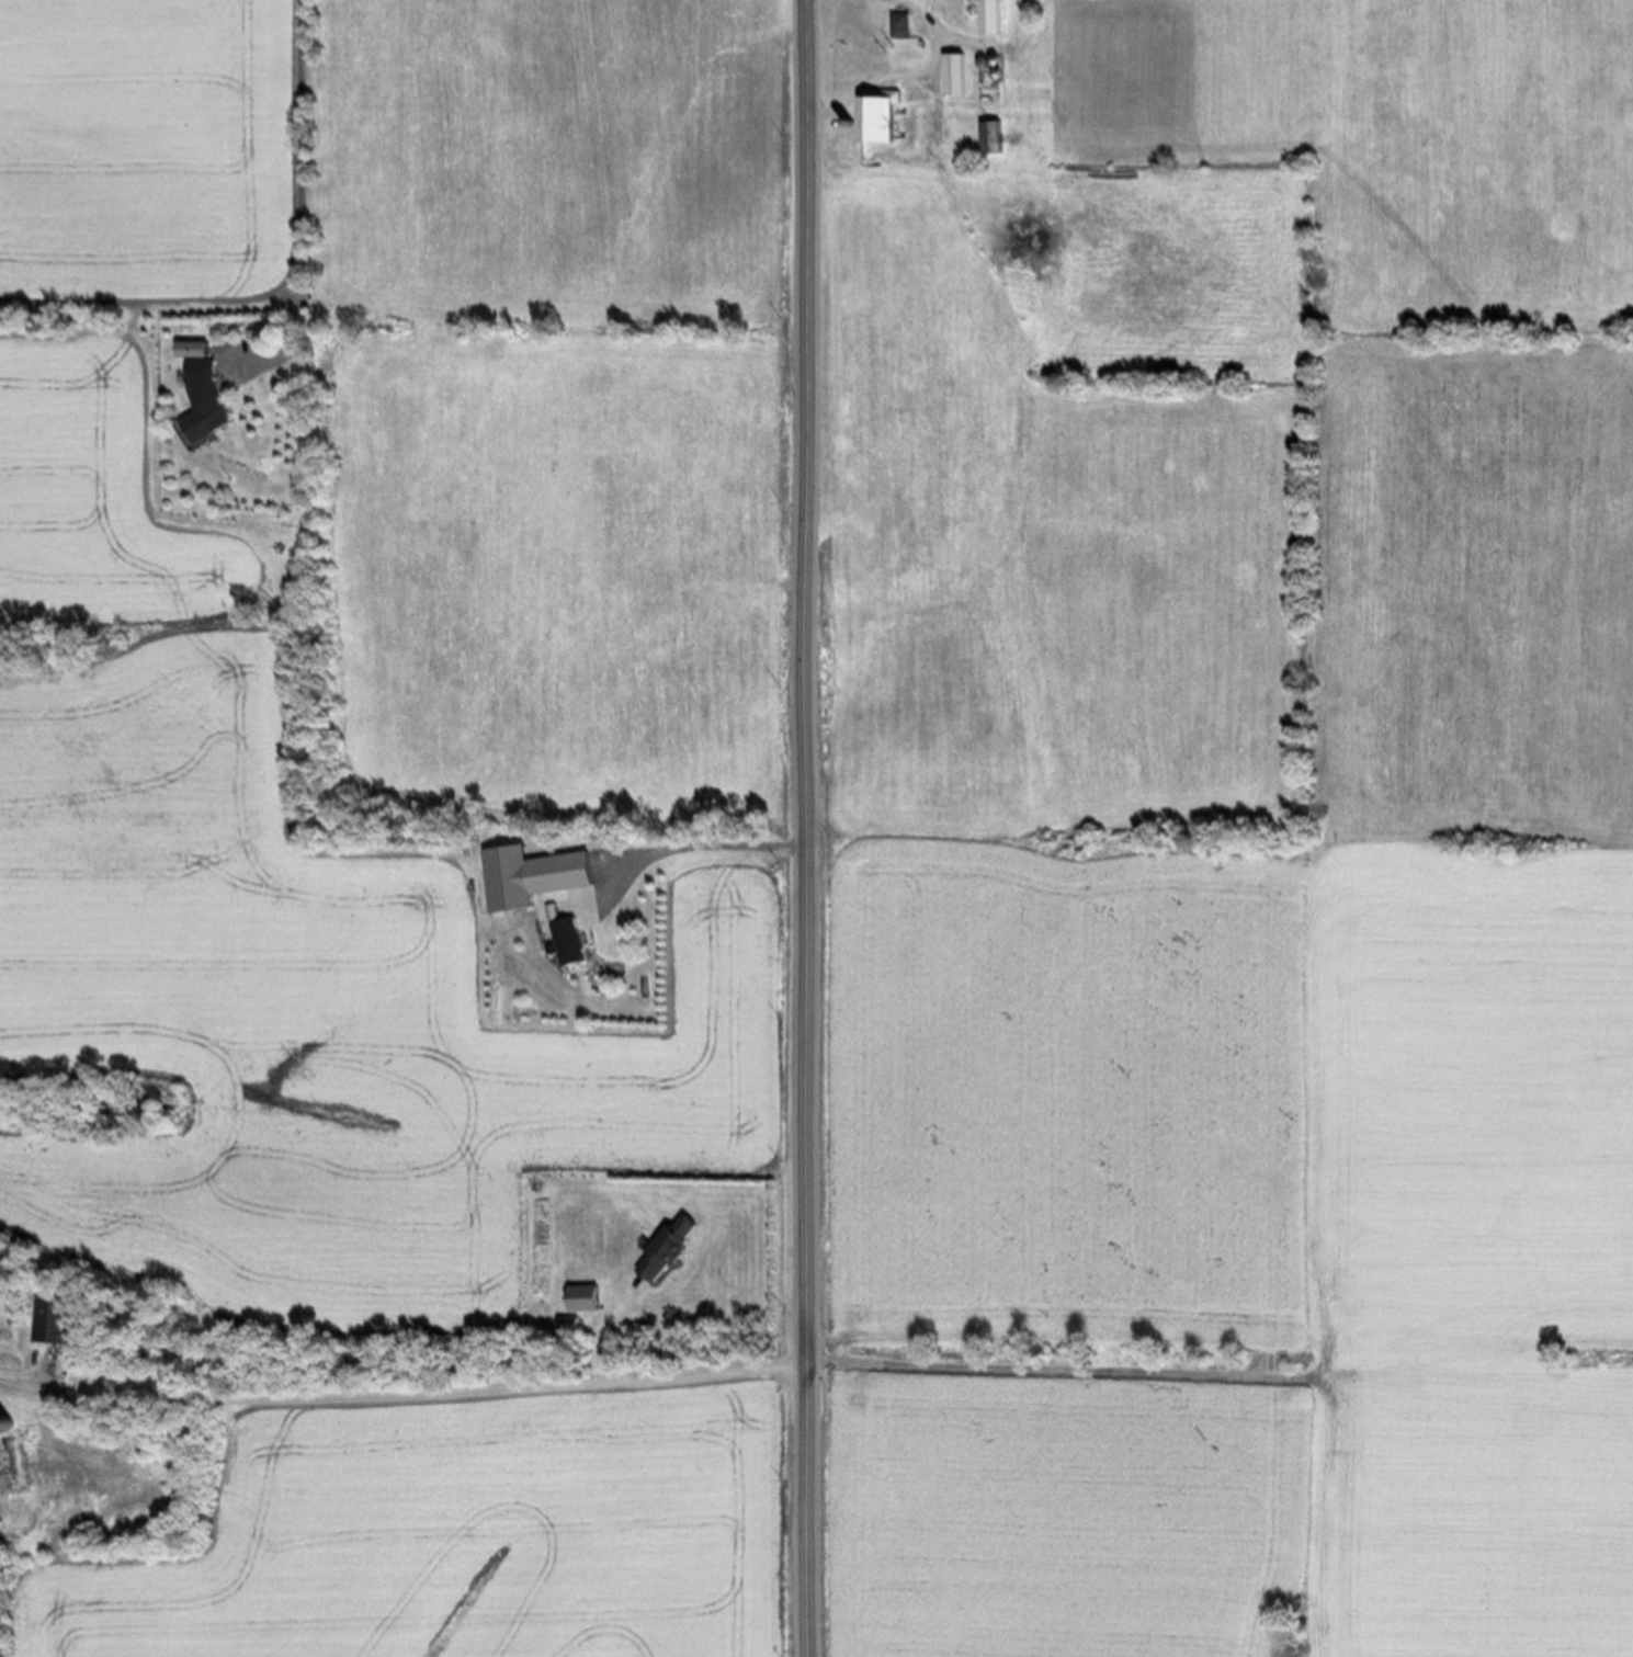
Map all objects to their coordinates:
building: (997, 15)
building: (900, 23)
building: (959, 72)
road: (909, 77)
building: (887, 115)
building: (996, 135)
road: (300, 195)
building: (214, 393)
road: (813, 828)
road: (693, 845)
building: (575, 951)
building: (666, 1252)
building: (60, 1316)
building: (570, 1320)
road: (613, 1325)
road: (1053, 1367)
road: (427, 1389)

